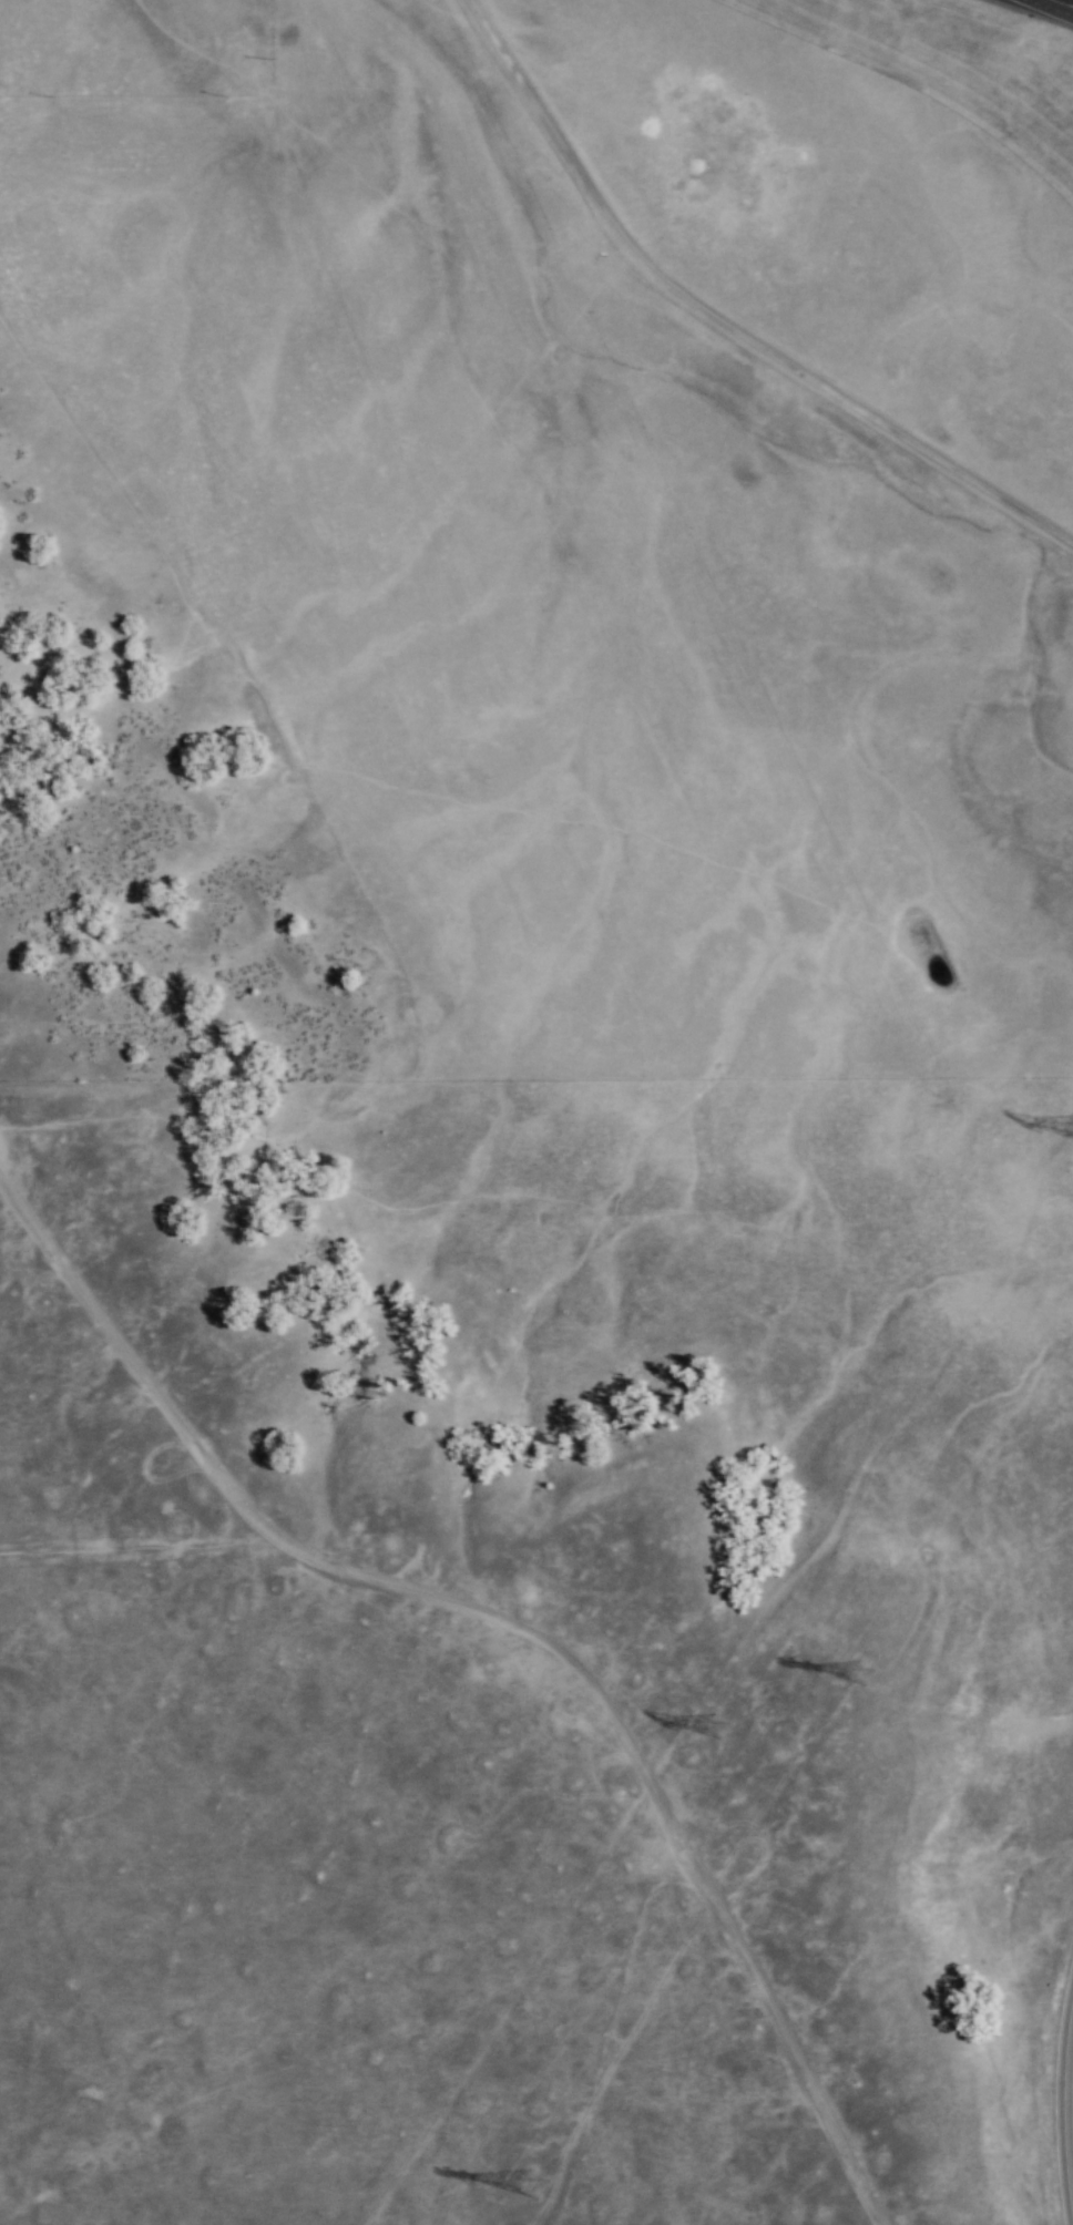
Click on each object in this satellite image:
road: (1054, 6)
road: (722, 321)
power tower: (861, 1668)
power tower: (712, 1730)
road: (1059, 2100)
power tower: (539, 2193)

